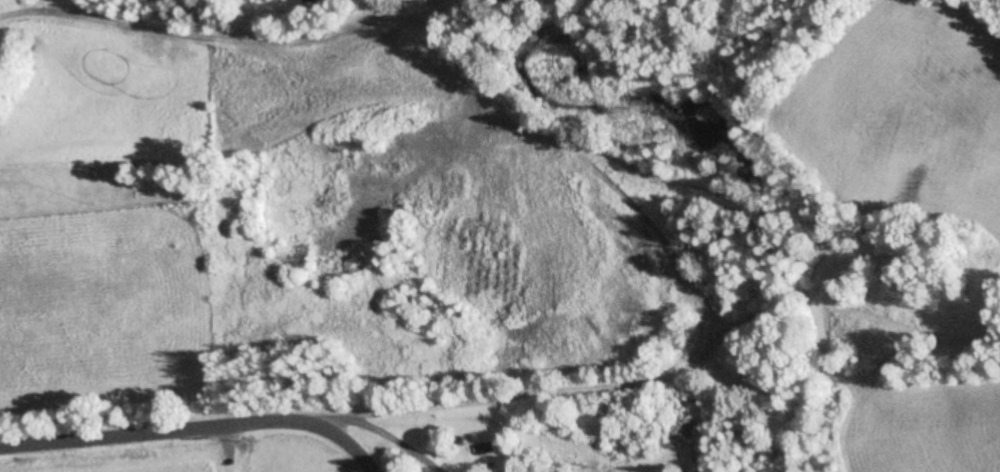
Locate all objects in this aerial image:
road: (194, 427)

